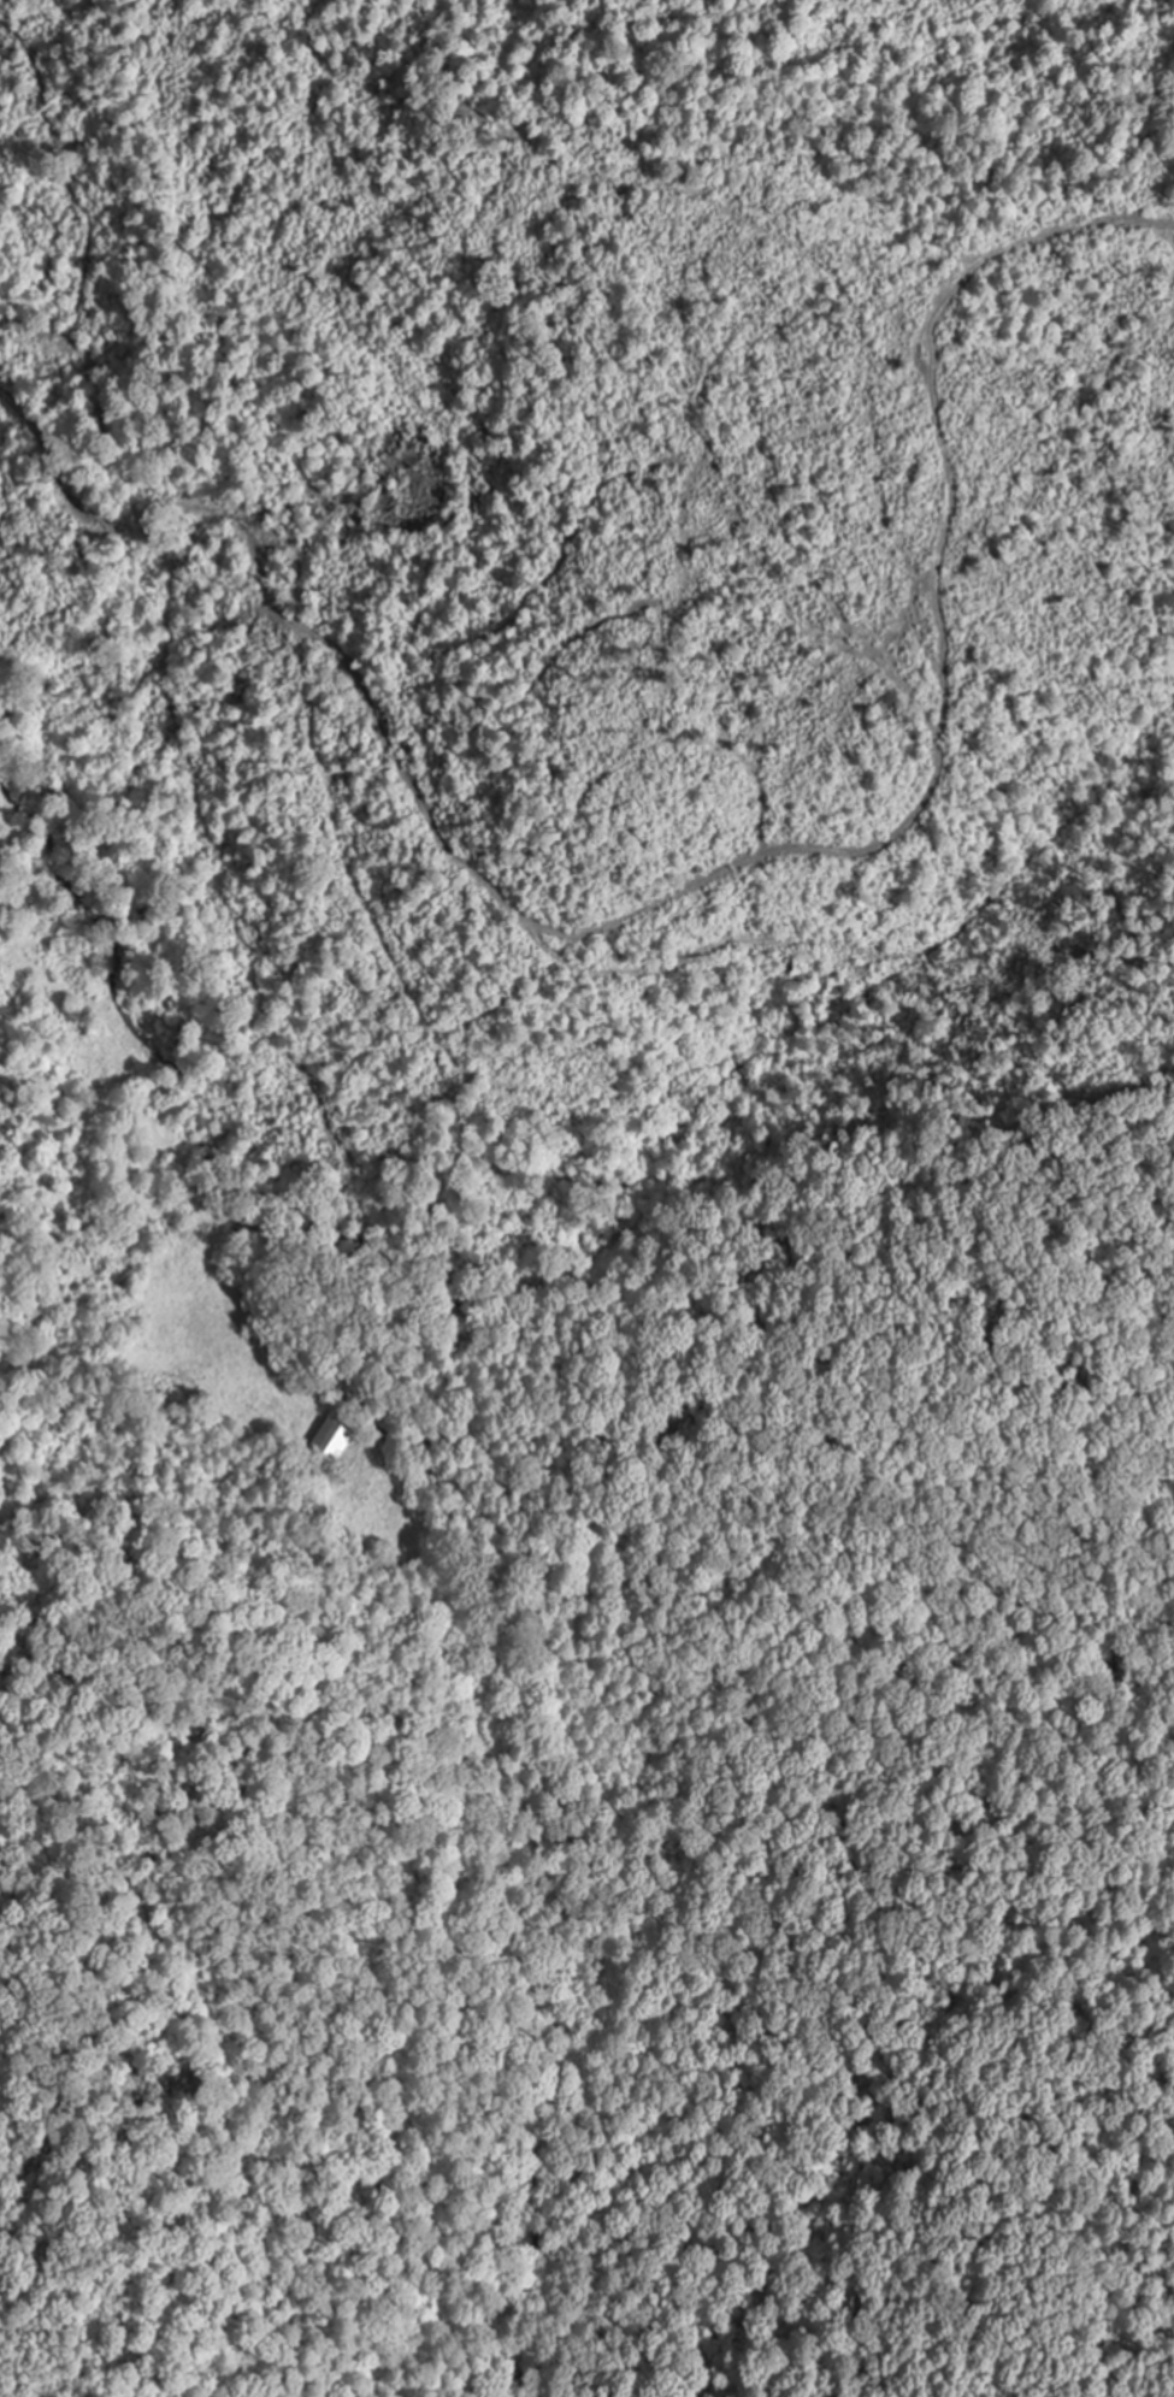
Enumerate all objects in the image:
building: (329, 1443)

